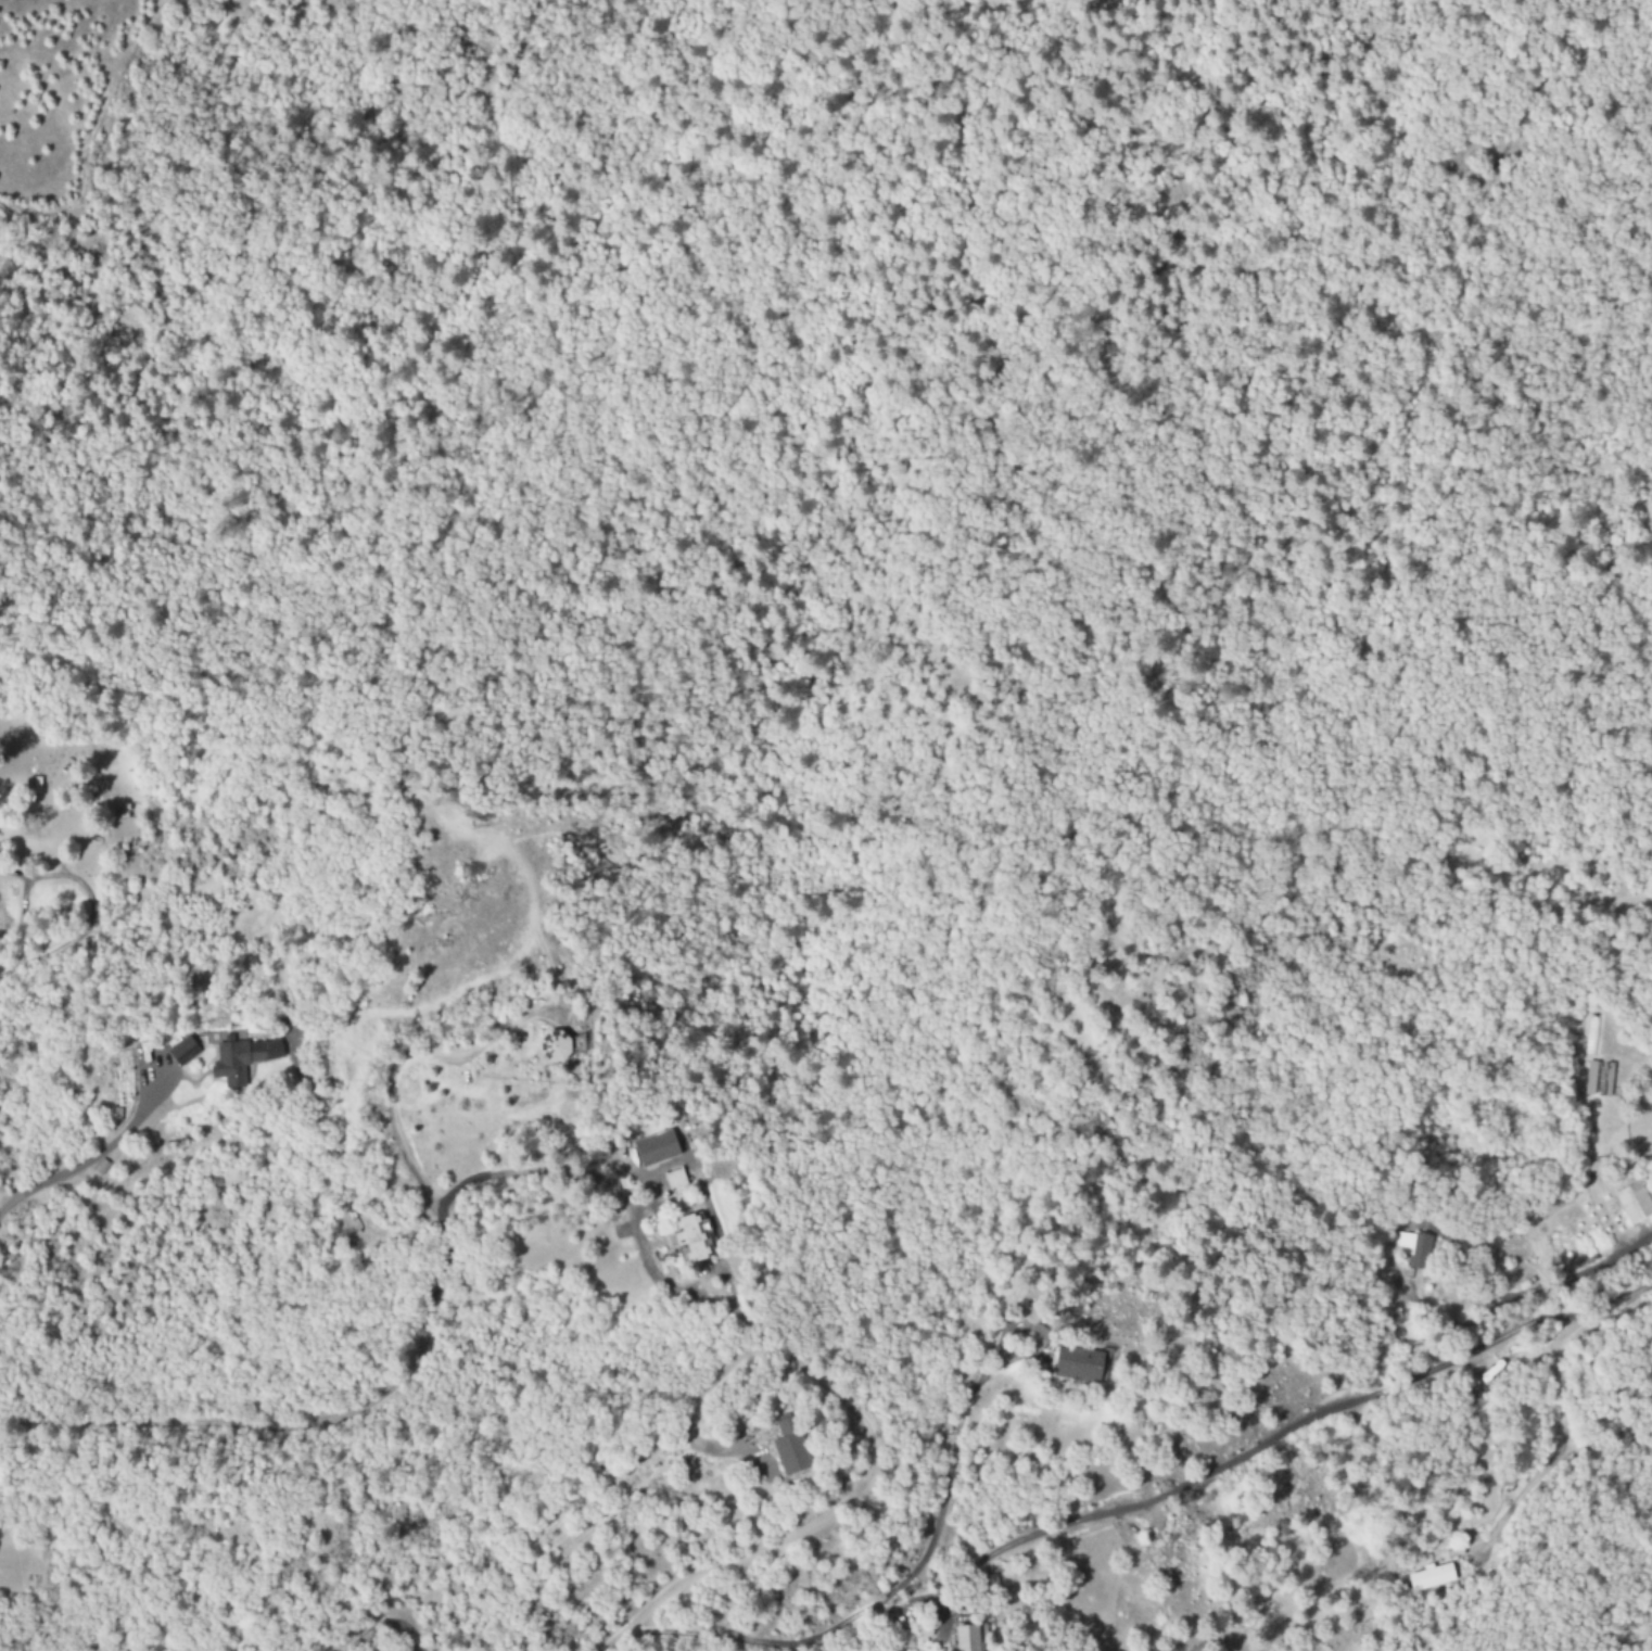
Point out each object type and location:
building: (119, 828)
building: (555, 1044)
building: (182, 1051)
building: (241, 1055)
building: (1598, 1079)
building: (653, 1148)
building: (675, 1181)
building: (1634, 1203)
building: (690, 1236)
building: (1413, 1248)
building: (1034, 1336)
building: (1075, 1364)
building: (783, 1447)
building: (1431, 1577)
building: (969, 1637)

